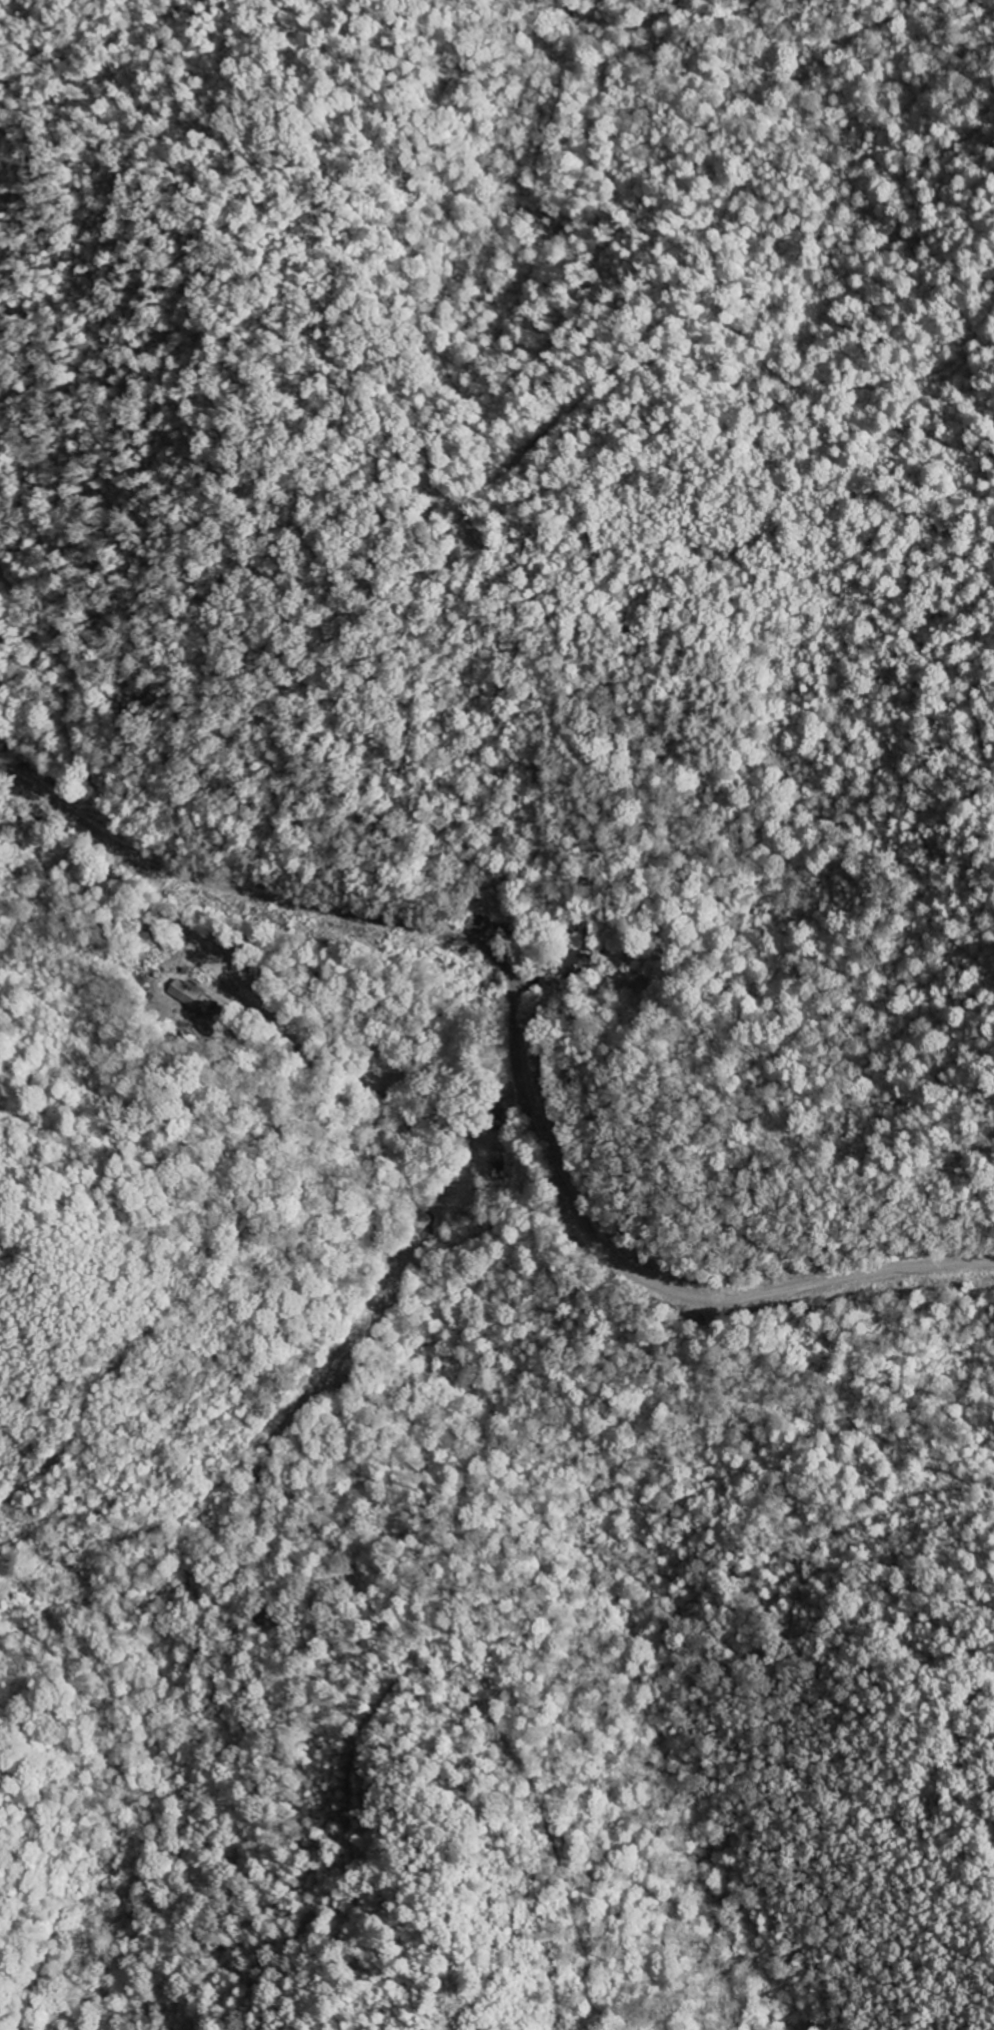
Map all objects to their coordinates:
building: (190, 996)
road: (513, 1043)
road: (367, 1255)

